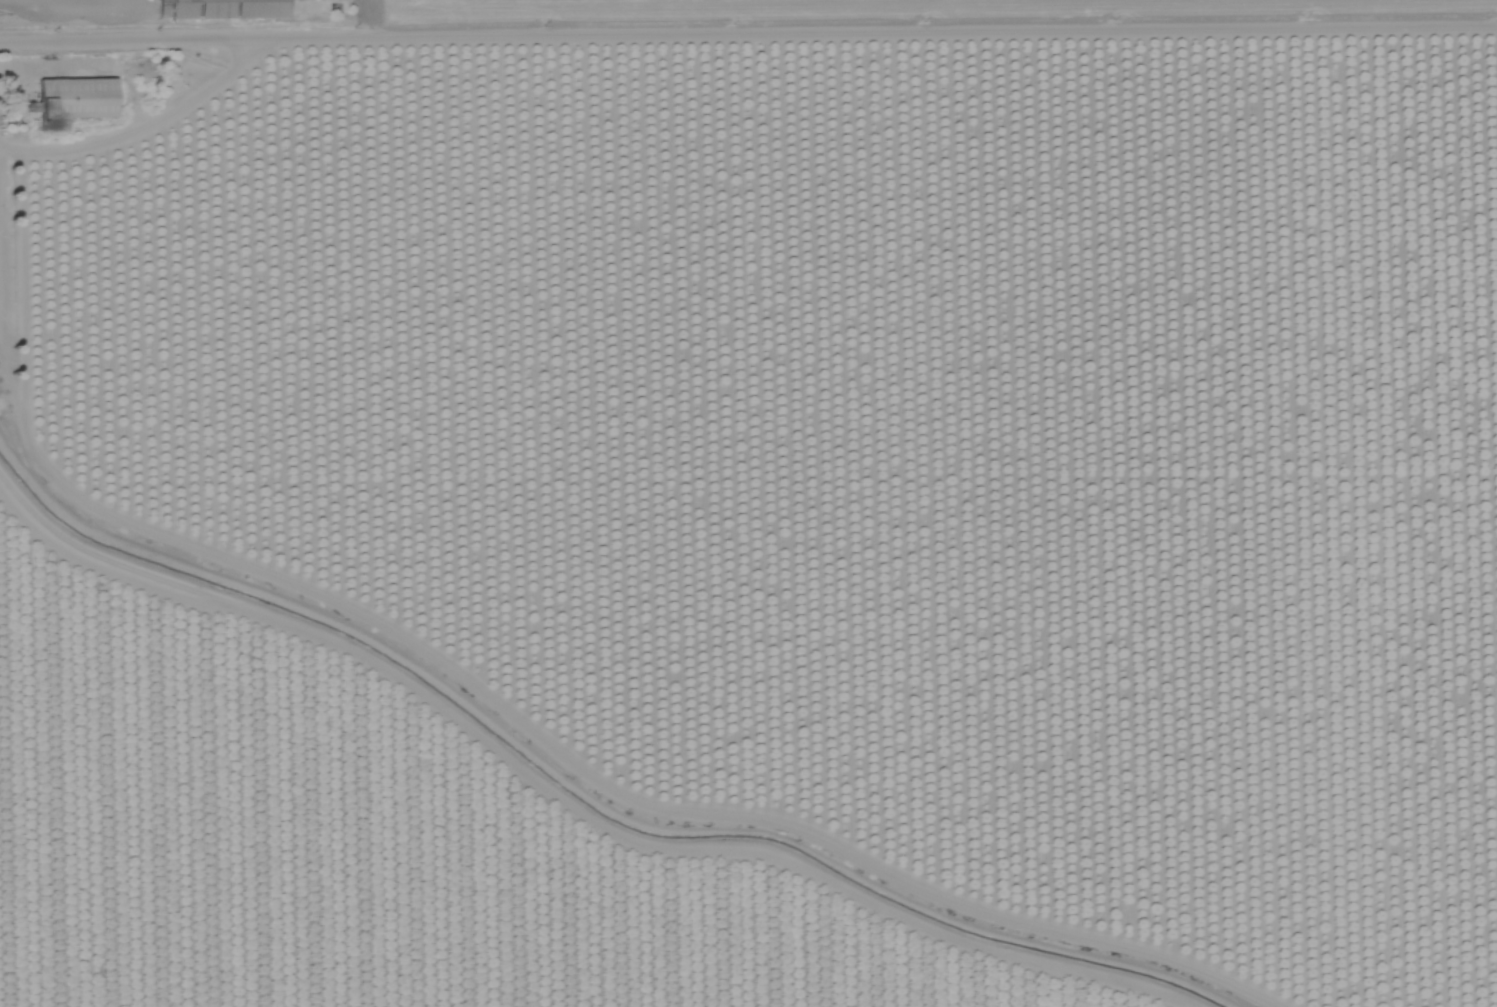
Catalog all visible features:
building: (242, 10)
crop: (893, 15)
road: (748, 31)
building: (70, 98)
road: (138, 123)
crop: (867, 451)
crop: (349, 848)

